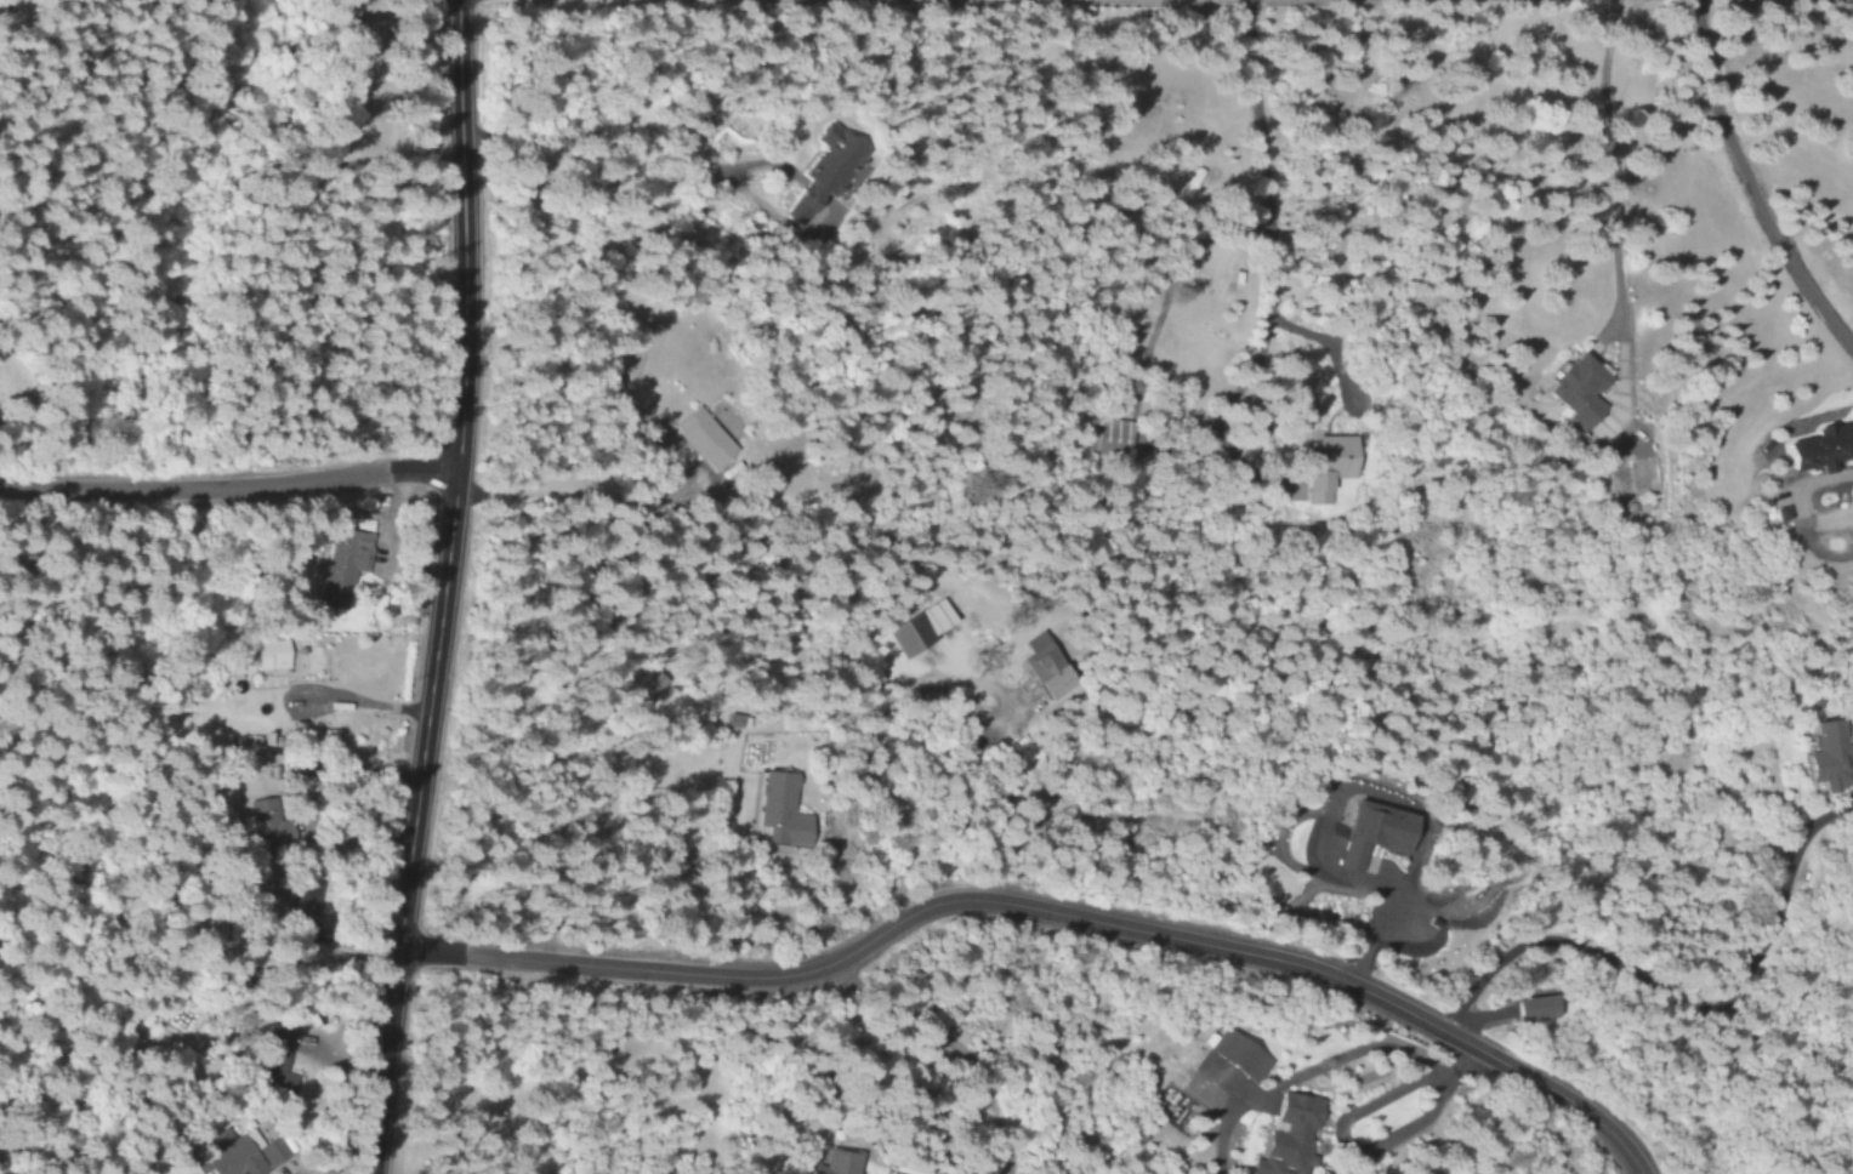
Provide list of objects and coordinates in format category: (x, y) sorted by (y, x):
building: (823, 171)
building: (1573, 391)
building: (1107, 435)
building: (699, 439)
building: (1815, 449)
building: (1323, 467)
road: (228, 491)
building: (339, 566)
road: (444, 588)
building: (914, 629)
building: (268, 655)
building: (1042, 666)
building: (643, 693)
building: (732, 722)
building: (1826, 759)
building: (777, 813)
building: (1368, 834)
building: (302, 910)
road: (1041, 911)
building: (1530, 1009)
building: (1234, 1056)
building: (272, 1061)
building: (1285, 1136)
building: (232, 1155)
building: (832, 1163)

